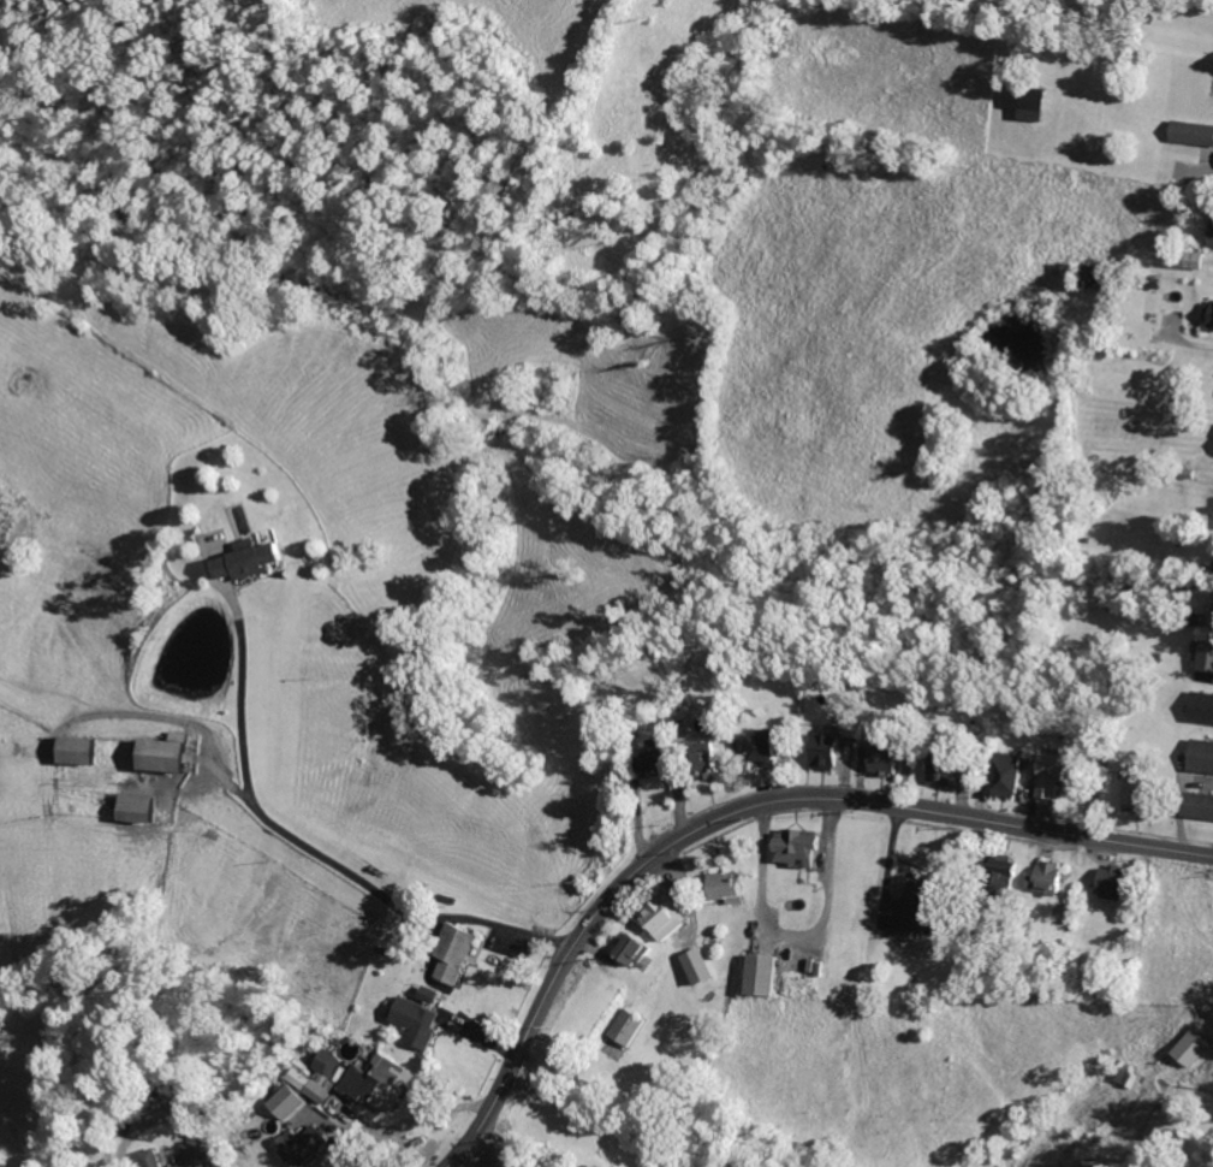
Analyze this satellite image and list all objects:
building: (1030, 106)
building: (1184, 132)
building: (1206, 236)
building: (1173, 257)
building: (1202, 312)
building: (256, 557)
building: (1189, 615)
building: (1200, 656)
building: (1195, 703)
building: (750, 745)
building: (771, 747)
building: (815, 748)
building: (82, 750)
building: (830, 751)
building: (170, 752)
building: (694, 752)
building: (1194, 752)
building: (641, 754)
building: (874, 759)
building: (933, 764)
building: (1054, 769)
building: (994, 771)
building: (1010, 775)
building: (1137, 784)
building: (1191, 799)
building: (139, 807)
road: (1013, 824)
building: (797, 847)
building: (1010, 870)
building: (1050, 876)
building: (1035, 878)
building: (1102, 878)
building: (710, 884)
building: (729, 888)
building: (923, 905)
building: (647, 913)
building: (666, 918)
road: (582, 929)
road: (795, 938)
building: (622, 947)
building: (459, 954)
building: (697, 965)
building: (742, 972)
building: (762, 975)
building: (433, 995)
building: (422, 1020)
building: (617, 1025)
building: (1191, 1043)
building: (325, 1060)
building: (334, 1072)
building: (1130, 1073)
building: (375, 1080)
building: (308, 1084)
building: (287, 1101)
building: (303, 1144)
road: (471, 1147)
building: (194, 1154)
building: (151, 1157)

